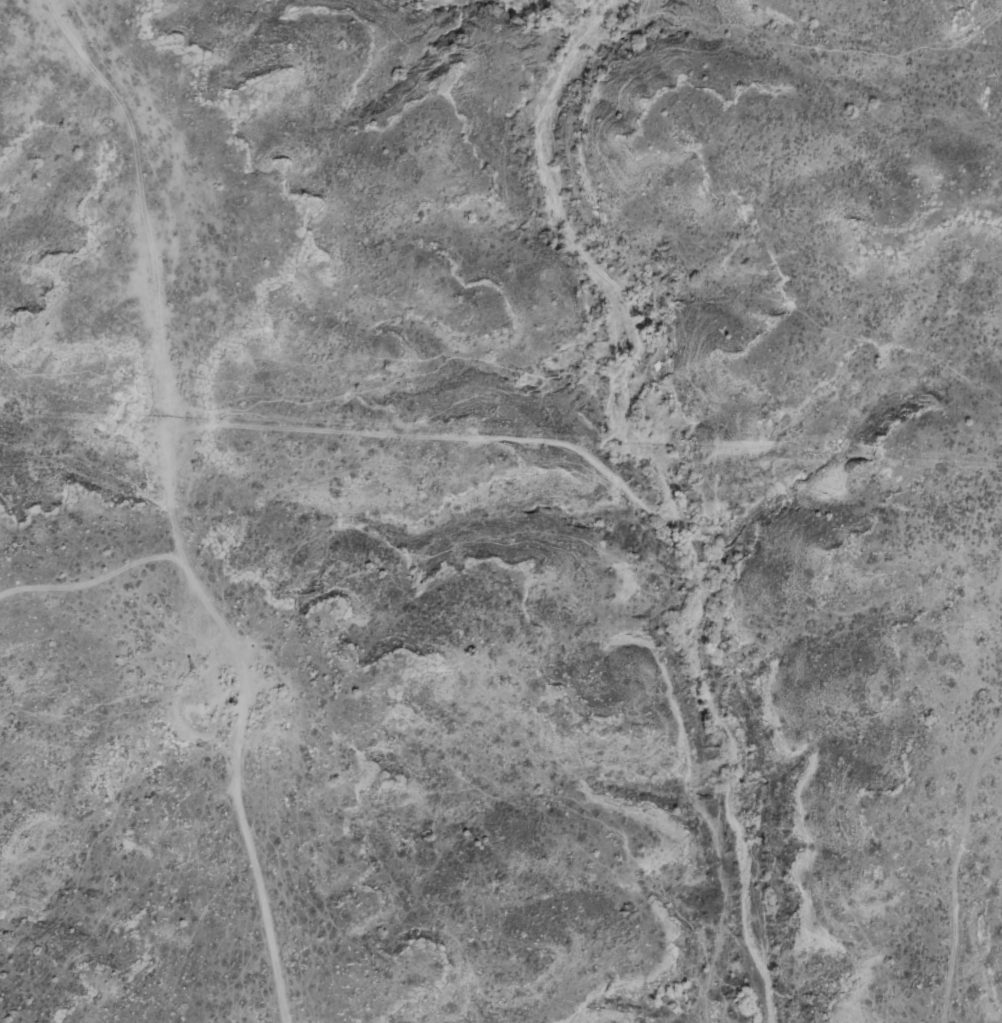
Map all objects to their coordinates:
road: (173, 511)

